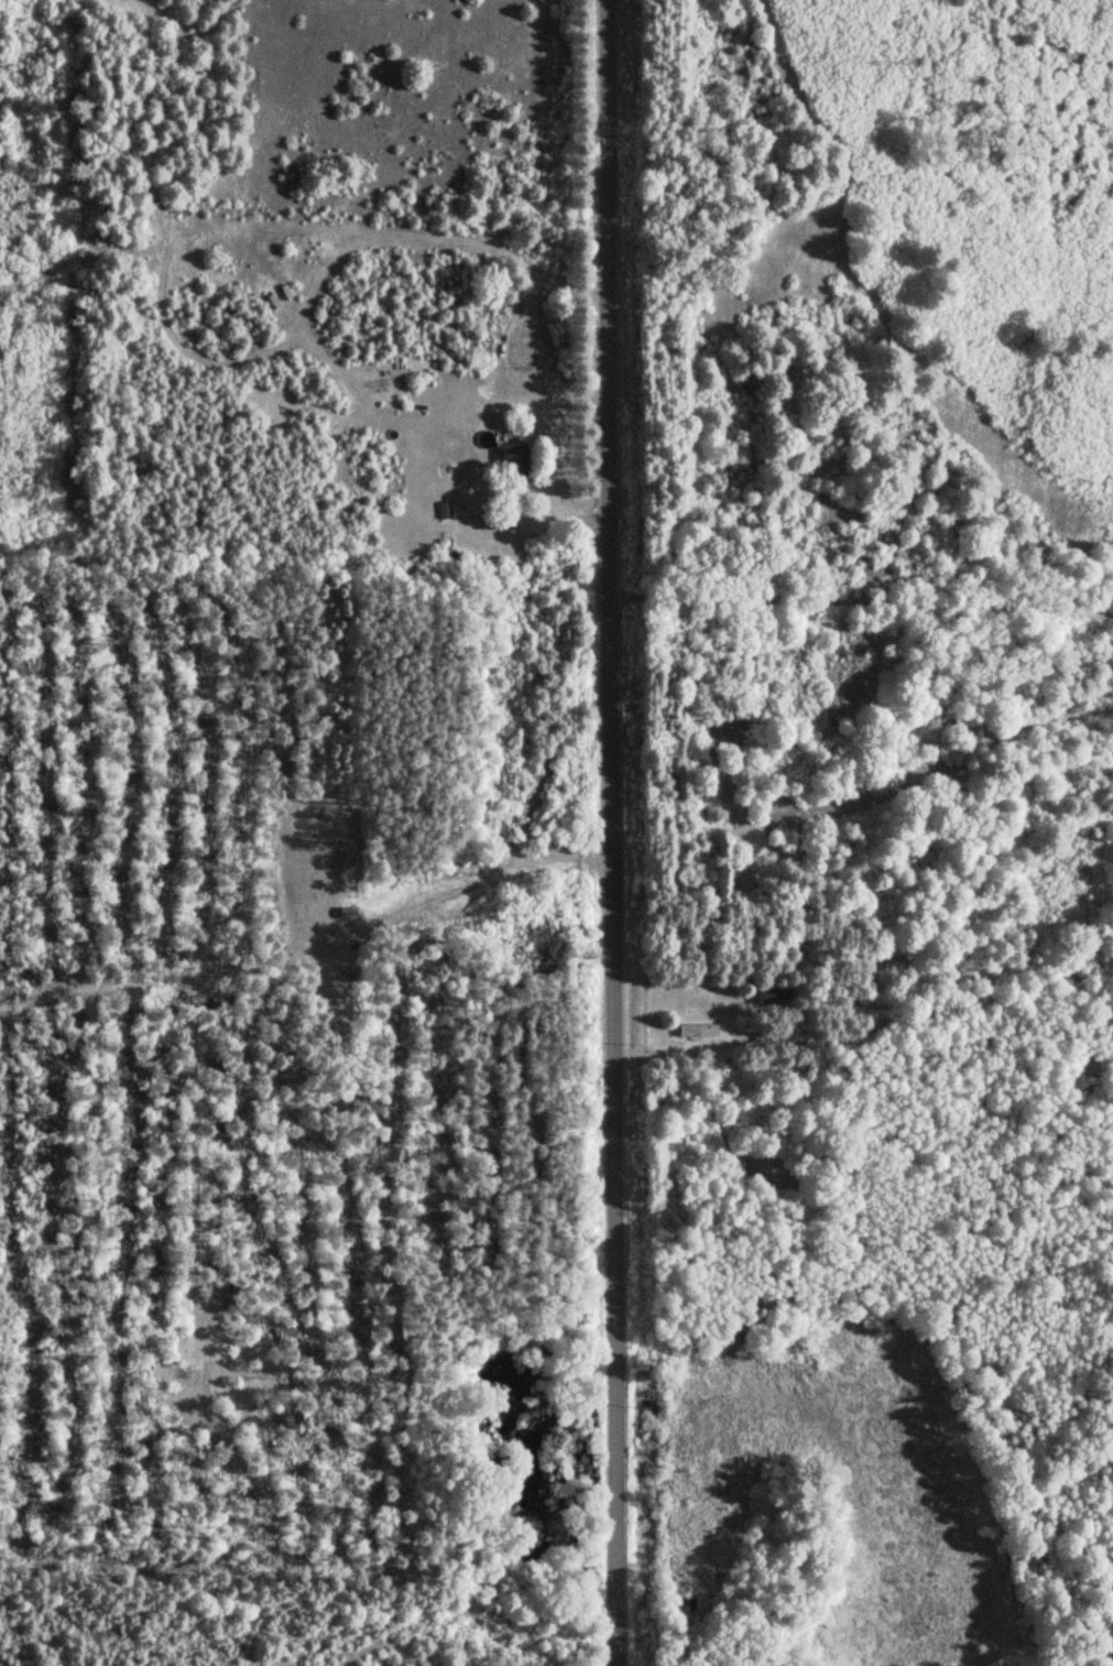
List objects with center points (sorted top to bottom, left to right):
building: (511, 460)
building: (498, 520)
road: (861, 607)
road: (610, 832)
building: (696, 1031)

